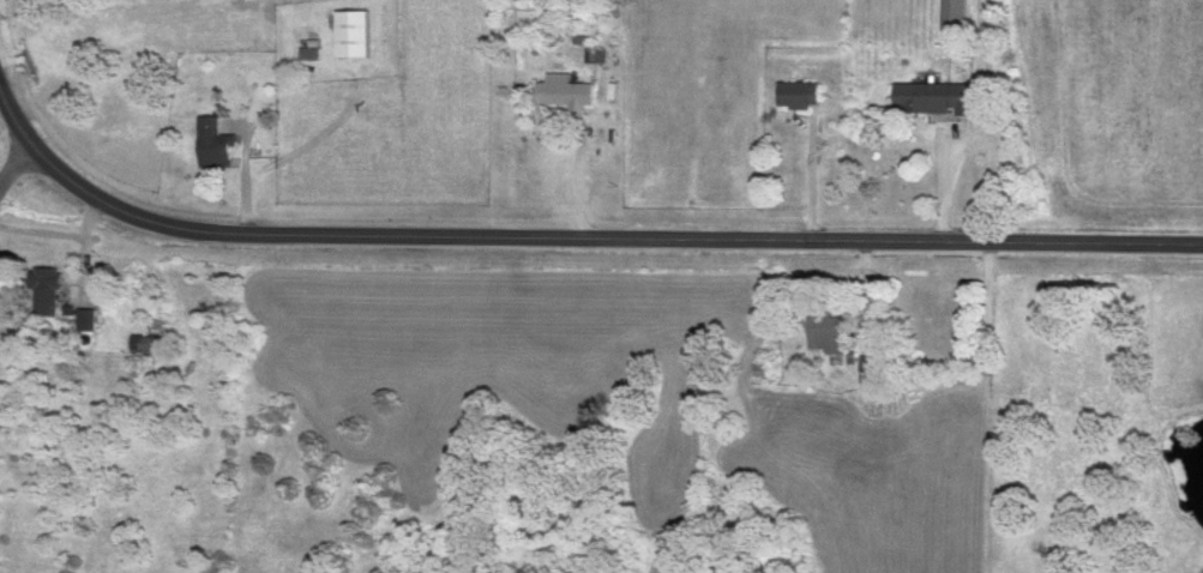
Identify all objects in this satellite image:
building: (949, 16)
building: (349, 35)
building: (559, 92)
building: (794, 96)
building: (928, 99)
building: (212, 146)
road: (17, 165)
road: (245, 177)
road: (810, 179)
road: (582, 181)
road: (948, 183)
road: (576, 237)
building: (37, 294)
road: (866, 296)
building: (83, 321)
building: (823, 333)
building: (758, 372)

